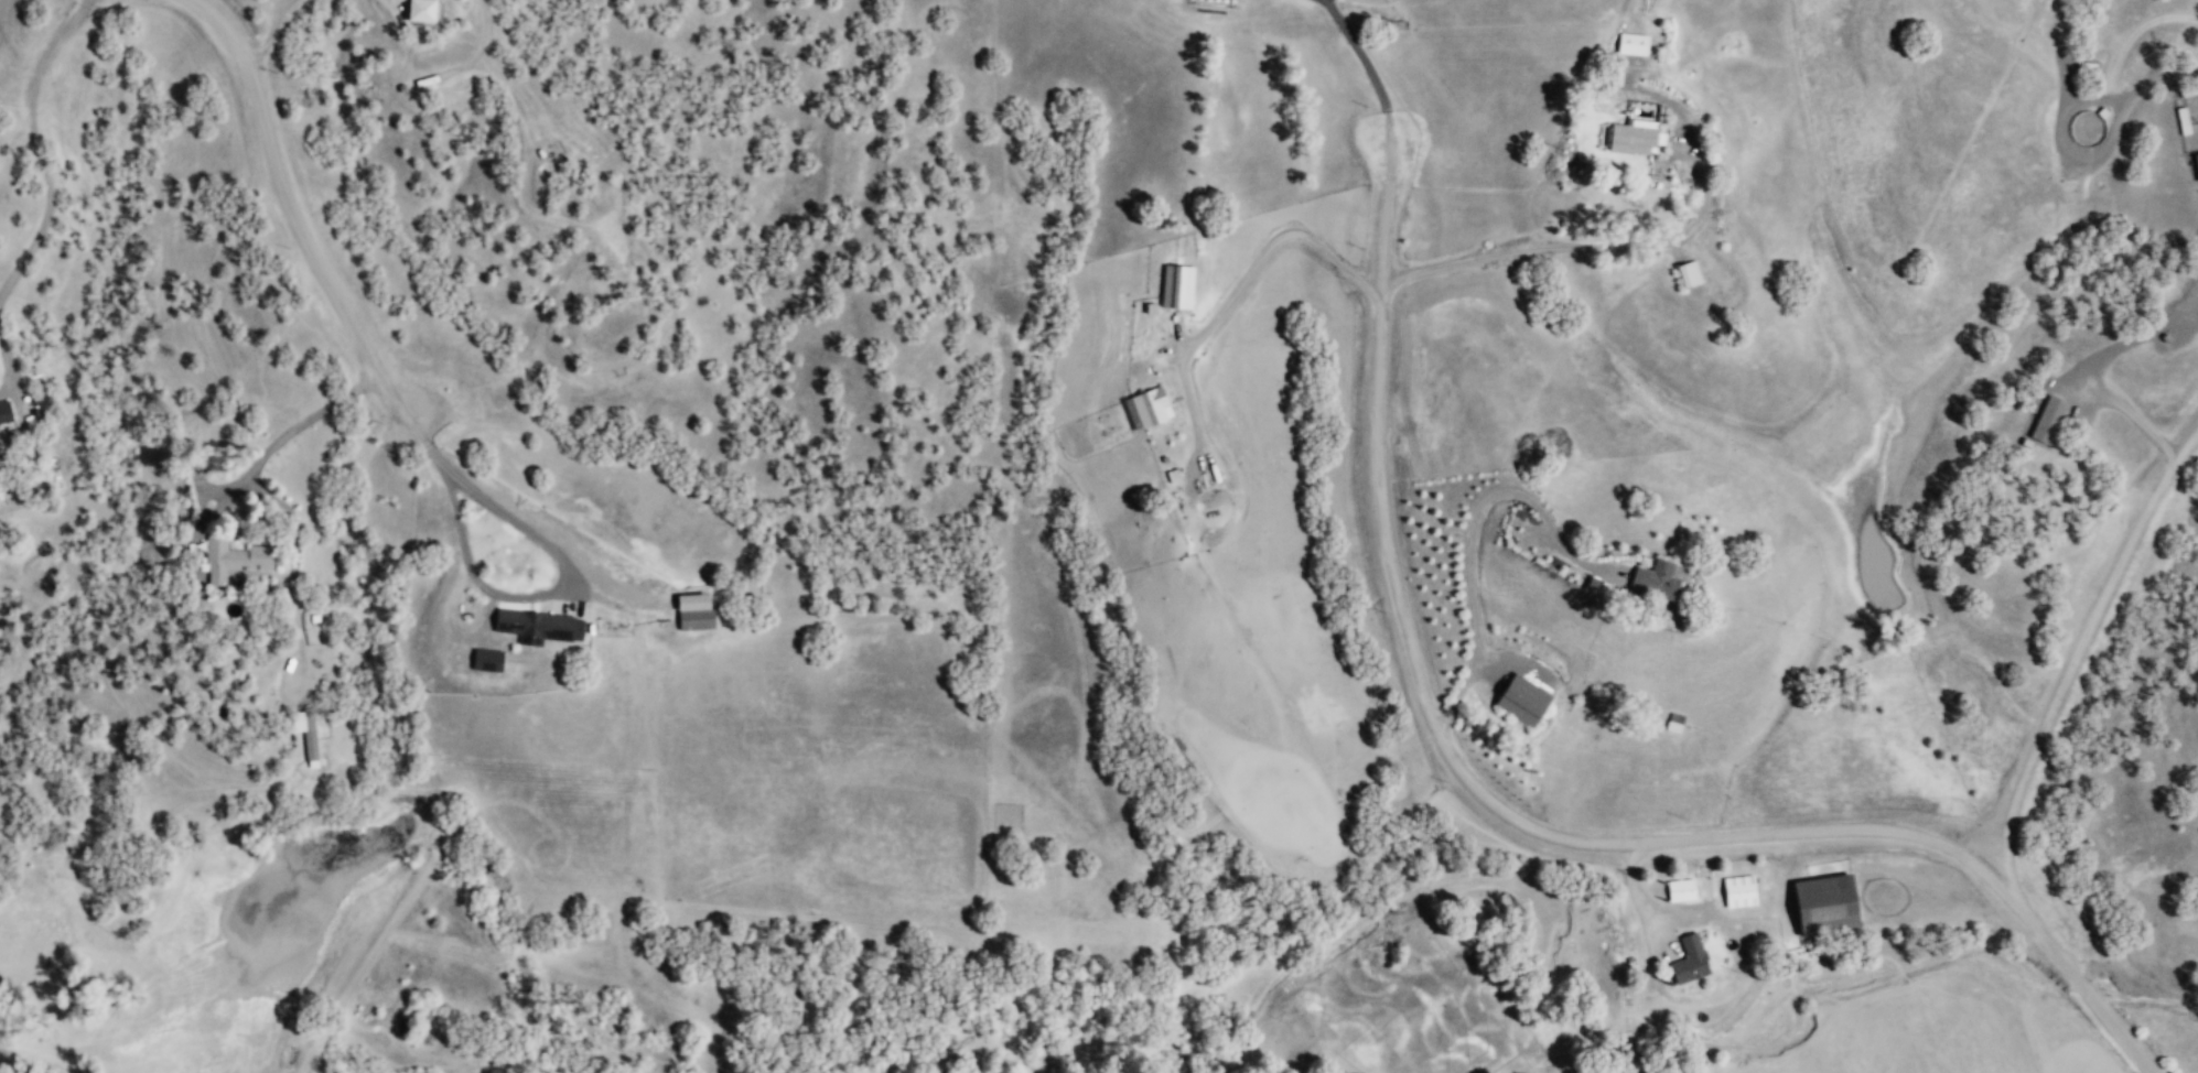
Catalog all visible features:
building: (419, 11)
building: (1633, 44)
road: (1359, 55)
building: (2184, 121)
building: (1636, 137)
road: (40, 148)
road: (280, 185)
road: (1270, 246)
road: (1585, 246)
building: (1689, 274)
building: (1176, 288)
road: (4, 355)
building: (1151, 407)
building: (4, 411)
building: (2048, 421)
road: (278, 440)
building: (234, 560)
building: (1656, 581)
road: (488, 590)
building: (696, 619)
building: (538, 626)
building: (486, 660)
road: (2083, 670)
building: (1523, 701)
building: (1677, 723)
building: (305, 731)
road: (1444, 740)
building: (1681, 889)
building: (1739, 890)
building: (1825, 904)
building: (1690, 958)
road: (2089, 987)

